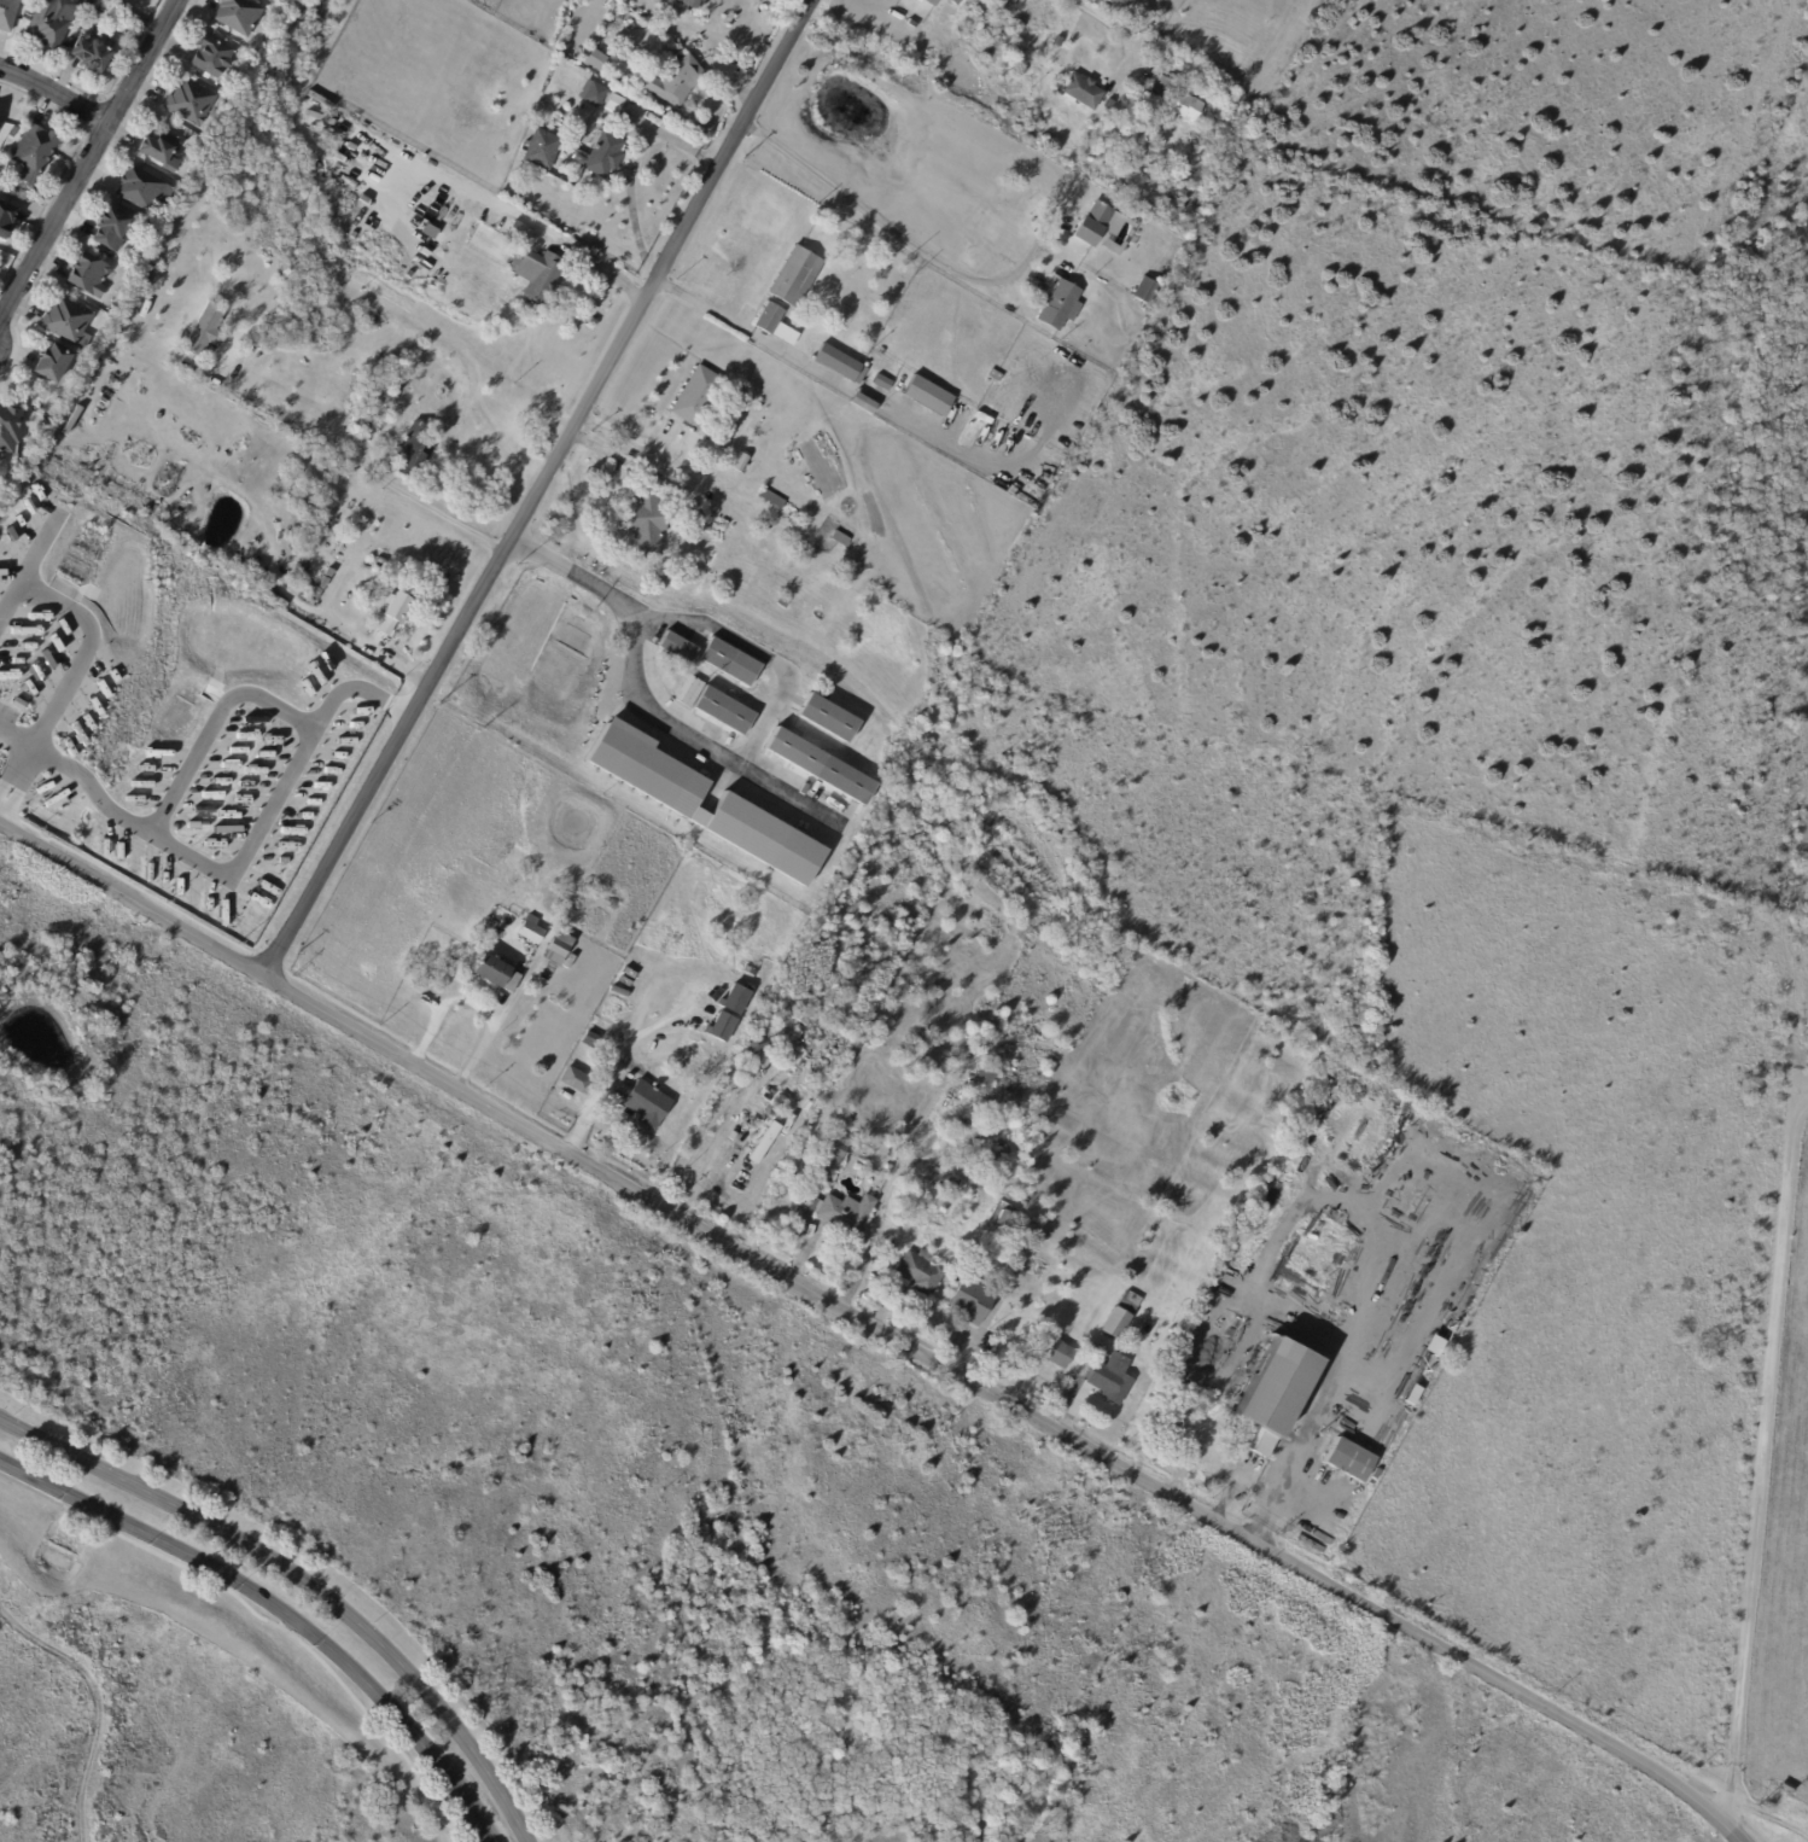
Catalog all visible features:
building: (1107, 0)
building: (929, 2)
building: (952, 2)
building: (695, 5)
building: (8, 14)
building: (29, 16)
building: (240, 16)
building: (53, 22)
building: (138, 28)
road: (1114, 28)
building: (1056, 42)
building: (94, 57)
building: (215, 58)
building: (594, 59)
building: (683, 82)
building: (1161, 84)
building: (544, 86)
building: (1080, 93)
building: (601, 97)
road: (49, 98)
building: (193, 103)
building: (1107, 105)
building: (1189, 109)
building: (14, 133)
building: (544, 150)
building: (161, 151)
building: (35, 153)
road: (81, 155)
building: (607, 156)
building: (564, 168)
building: (1, 174)
building: (144, 190)
building: (1148, 210)
road: (501, 211)
building: (1171, 215)
building: (6, 218)
building: (1091, 225)
building: (112, 229)
building: (151, 231)
building: (529, 238)
road: (900, 238)
building: (1178, 243)
building: (89, 275)
building: (148, 278)
building: (544, 278)
building: (799, 278)
building: (1145, 292)
building: (1062, 307)
building: (772, 320)
building: (70, 325)
building: (206, 332)
road: (747, 332)
building: (56, 366)
building: (844, 366)
building: (404, 375)
building: (998, 377)
building: (886, 384)
building: (39, 386)
building: (398, 389)
building: (385, 395)
building: (700, 396)
building: (929, 396)
building: (867, 406)
building: (72, 421)
building: (10, 431)
building: (413, 449)
road: (361, 454)
building: (344, 457)
building: (741, 464)
road: (676, 465)
road: (537, 488)
building: (311, 496)
building: (774, 499)
building: (649, 521)
building: (841, 538)
road: (39, 548)
building: (789, 561)
building: (326, 583)
building: (317, 593)
building: (782, 602)
building: (397, 607)
building: (379, 634)
building: (678, 647)
road: (84, 651)
road: (759, 652)
building: (731, 661)
road: (351, 688)
road: (636, 698)
building: (17, 703)
building: (724, 711)
building: (829, 718)
road: (17, 733)
building: (821, 766)
road: (14, 786)
building: (676, 798)
road: (274, 800)
building: (556, 927)
building: (532, 931)
building: (560, 948)
building: (549, 972)
building: (497, 973)
building: (734, 998)
road: (472, 1003)
building: (799, 1020)
building: (719, 1025)
building: (751, 1049)
road: (612, 1067)
building: (986, 1076)
building: (572, 1082)
building: (778, 1101)
building: (645, 1104)
building: (763, 1142)
building: (835, 1149)
building: (894, 1156)
building: (887, 1168)
building: (941, 1201)
building: (828, 1214)
building: (998, 1216)
building: (918, 1273)
building: (969, 1301)
building: (1112, 1324)
road: (873, 1325)
building: (1051, 1352)
building: (1108, 1378)
building: (1265, 1392)
building: (1343, 1457)
road: (1757, 1458)
road: (305, 1580)
road: (278, 1610)
building: (1785, 1786)

